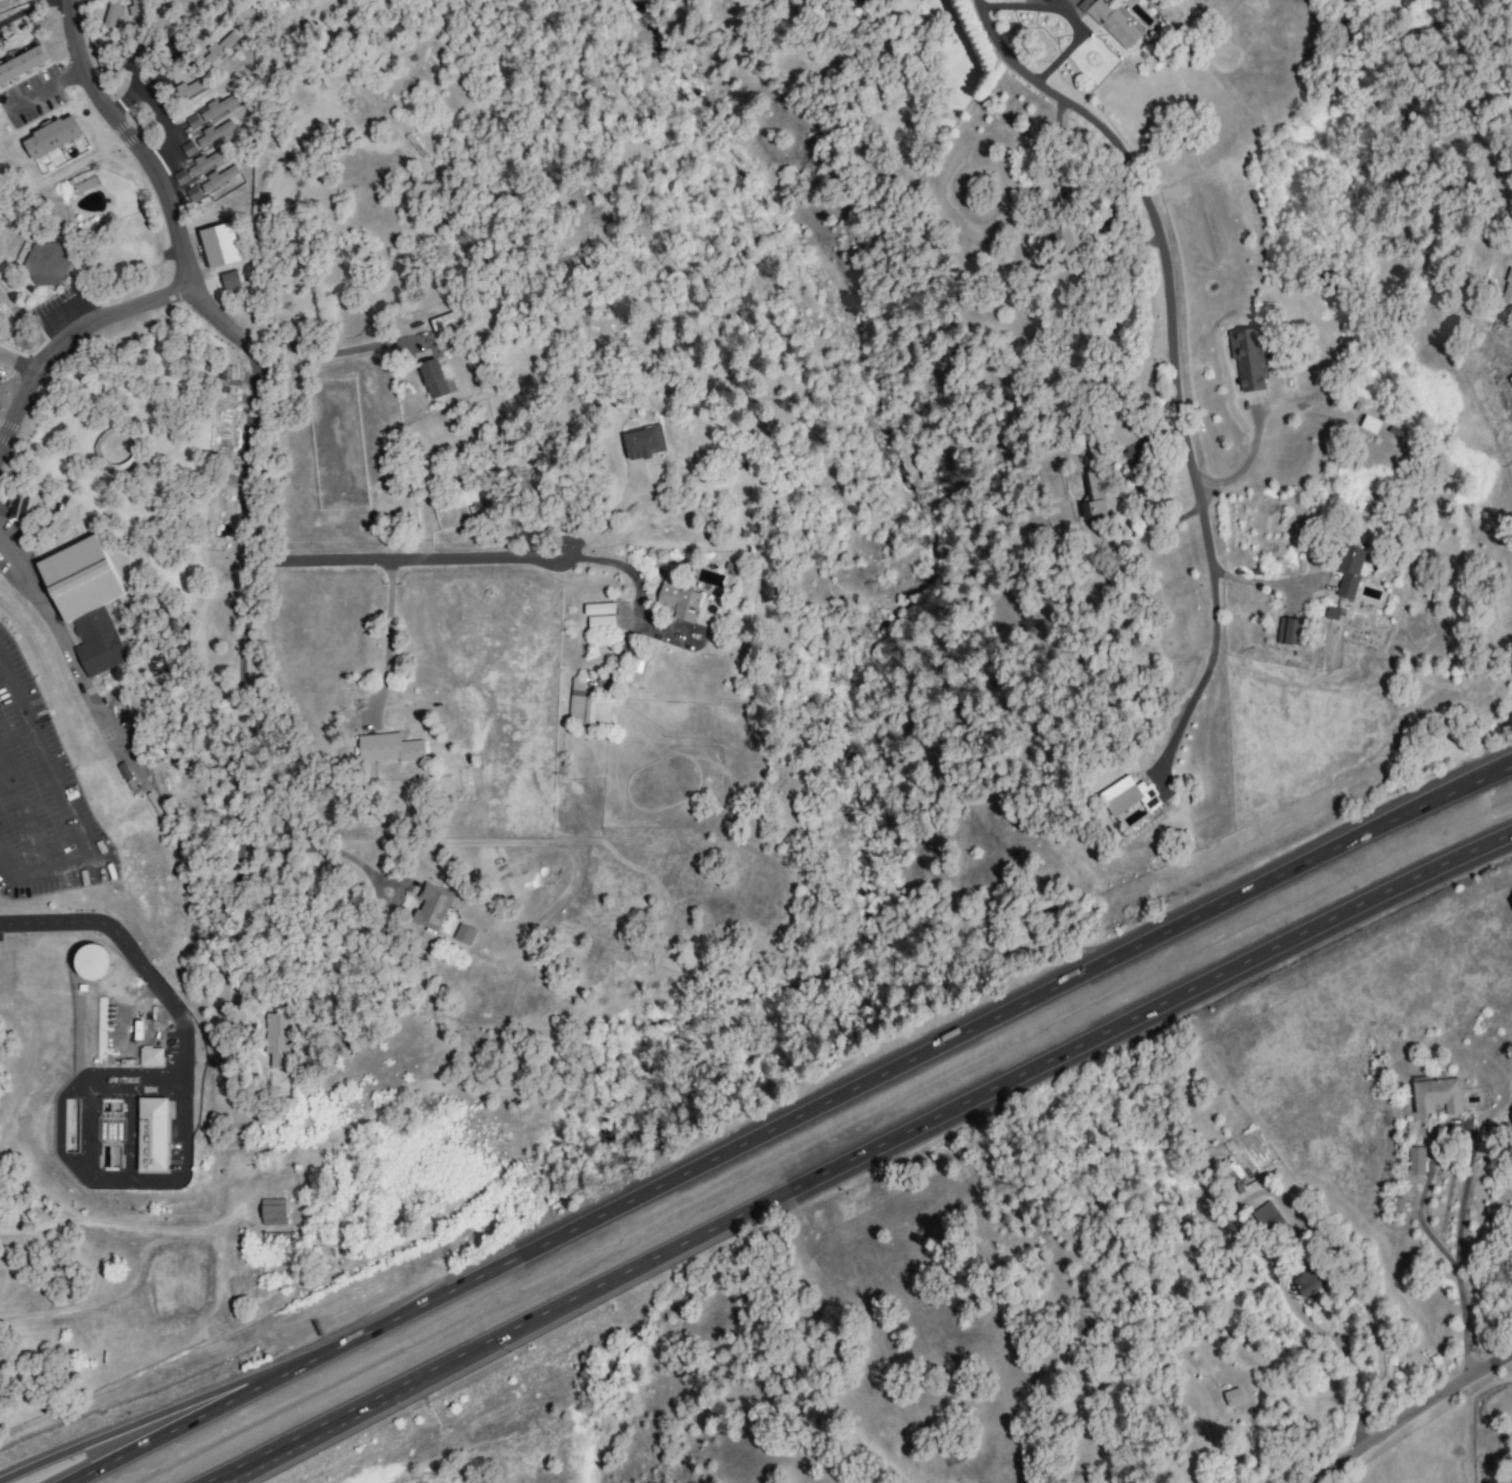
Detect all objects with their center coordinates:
building: (1417, 0)
building: (1428, 0)
building: (1046, 1)
road: (26, 9)
building: (137, 11)
road: (1063, 13)
building: (110, 18)
building: (1113, 21)
building: (220, 46)
building: (21, 64)
building: (186, 90)
building: (218, 108)
building: (192, 122)
building: (214, 134)
building: (51, 136)
road: (1056, 143)
building: (187, 149)
building: (204, 163)
building: (217, 178)
building: (1067, 237)
building: (219, 245)
road: (1155, 248)
building: (46, 264)
building: (230, 280)
building: (1507, 290)
building: (445, 322)
road: (65, 337)
road: (334, 352)
building: (1248, 357)
road: (16, 369)
building: (432, 379)
building: (1510, 379)
building: (643, 443)
building: (1099, 481)
building: (464, 493)
building: (21, 506)
road: (252, 518)
road: (591, 530)
road: (398, 560)
building: (1348, 570)
road: (633, 575)
building: (669, 575)
road: (1262, 584)
building: (85, 601)
building: (679, 602)
building: (598, 609)
building: (1331, 613)
building: (600, 622)
building: (1290, 632)
road: (388, 640)
road: (61, 642)
building: (155, 665)
road: (1207, 669)
building: (586, 705)
building: (388, 748)
building: (1126, 796)
road: (65, 808)
road: (23, 816)
road: (316, 853)
building: (431, 906)
building: (463, 934)
road: (127, 948)
building: (91, 961)
building: (277, 1039)
building: (150, 1056)
building: (1436, 1095)
road: (793, 1119)
building: (151, 1134)
road: (858, 1156)
building: (1415, 1161)
road: (88, 1177)
building: (272, 1211)
road: (1457, 1222)
road: (1454, 1274)
building: (1308, 1284)
road: (1353, 1349)
building: (1232, 1397)
road: (1409, 1413)
road: (150, 1422)
road: (286, 1452)

